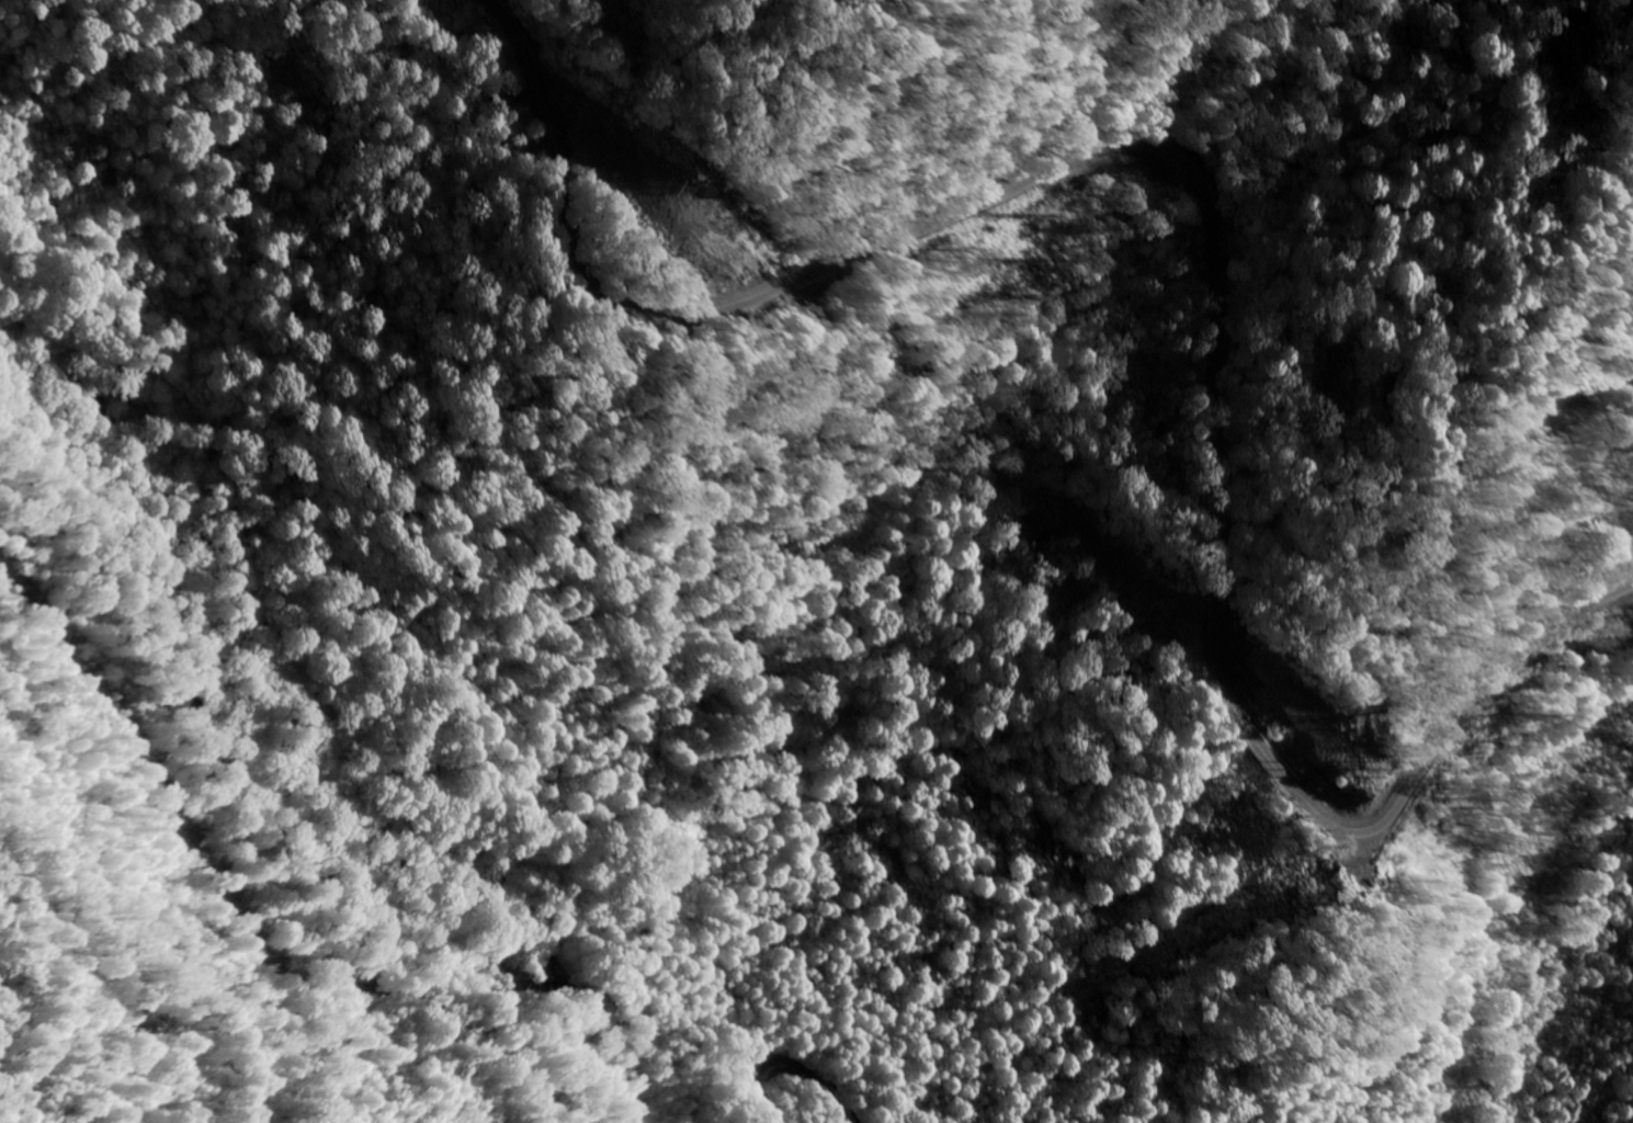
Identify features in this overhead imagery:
road: (537, 149)
road: (1206, 404)

